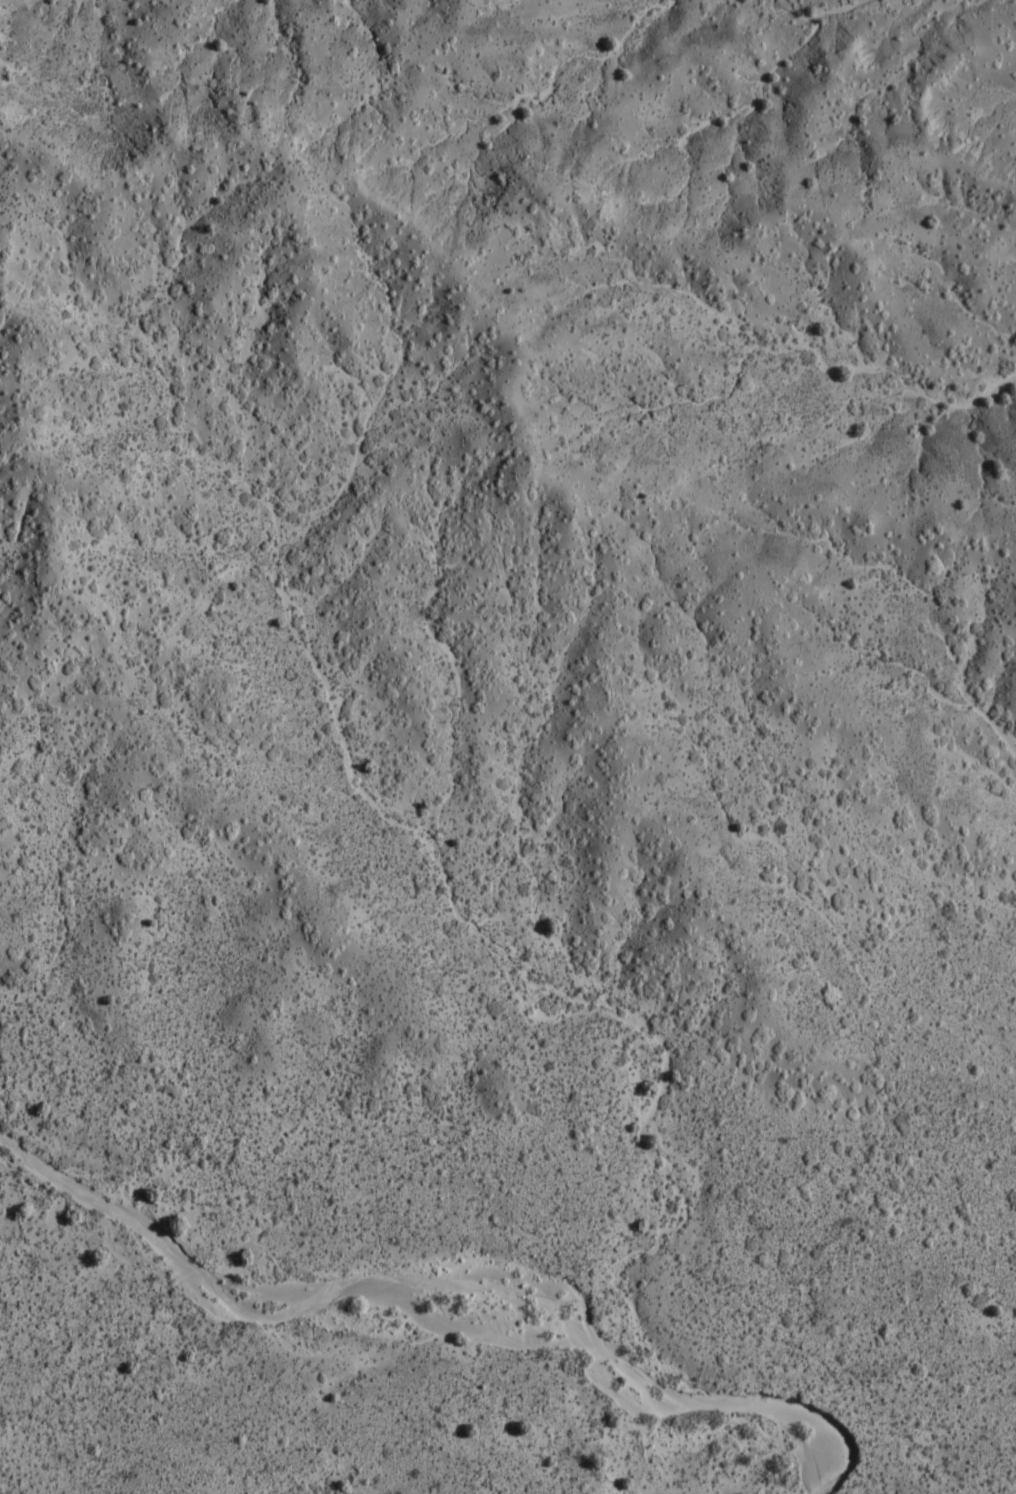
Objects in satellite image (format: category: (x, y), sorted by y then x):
river: (429, 1314)

